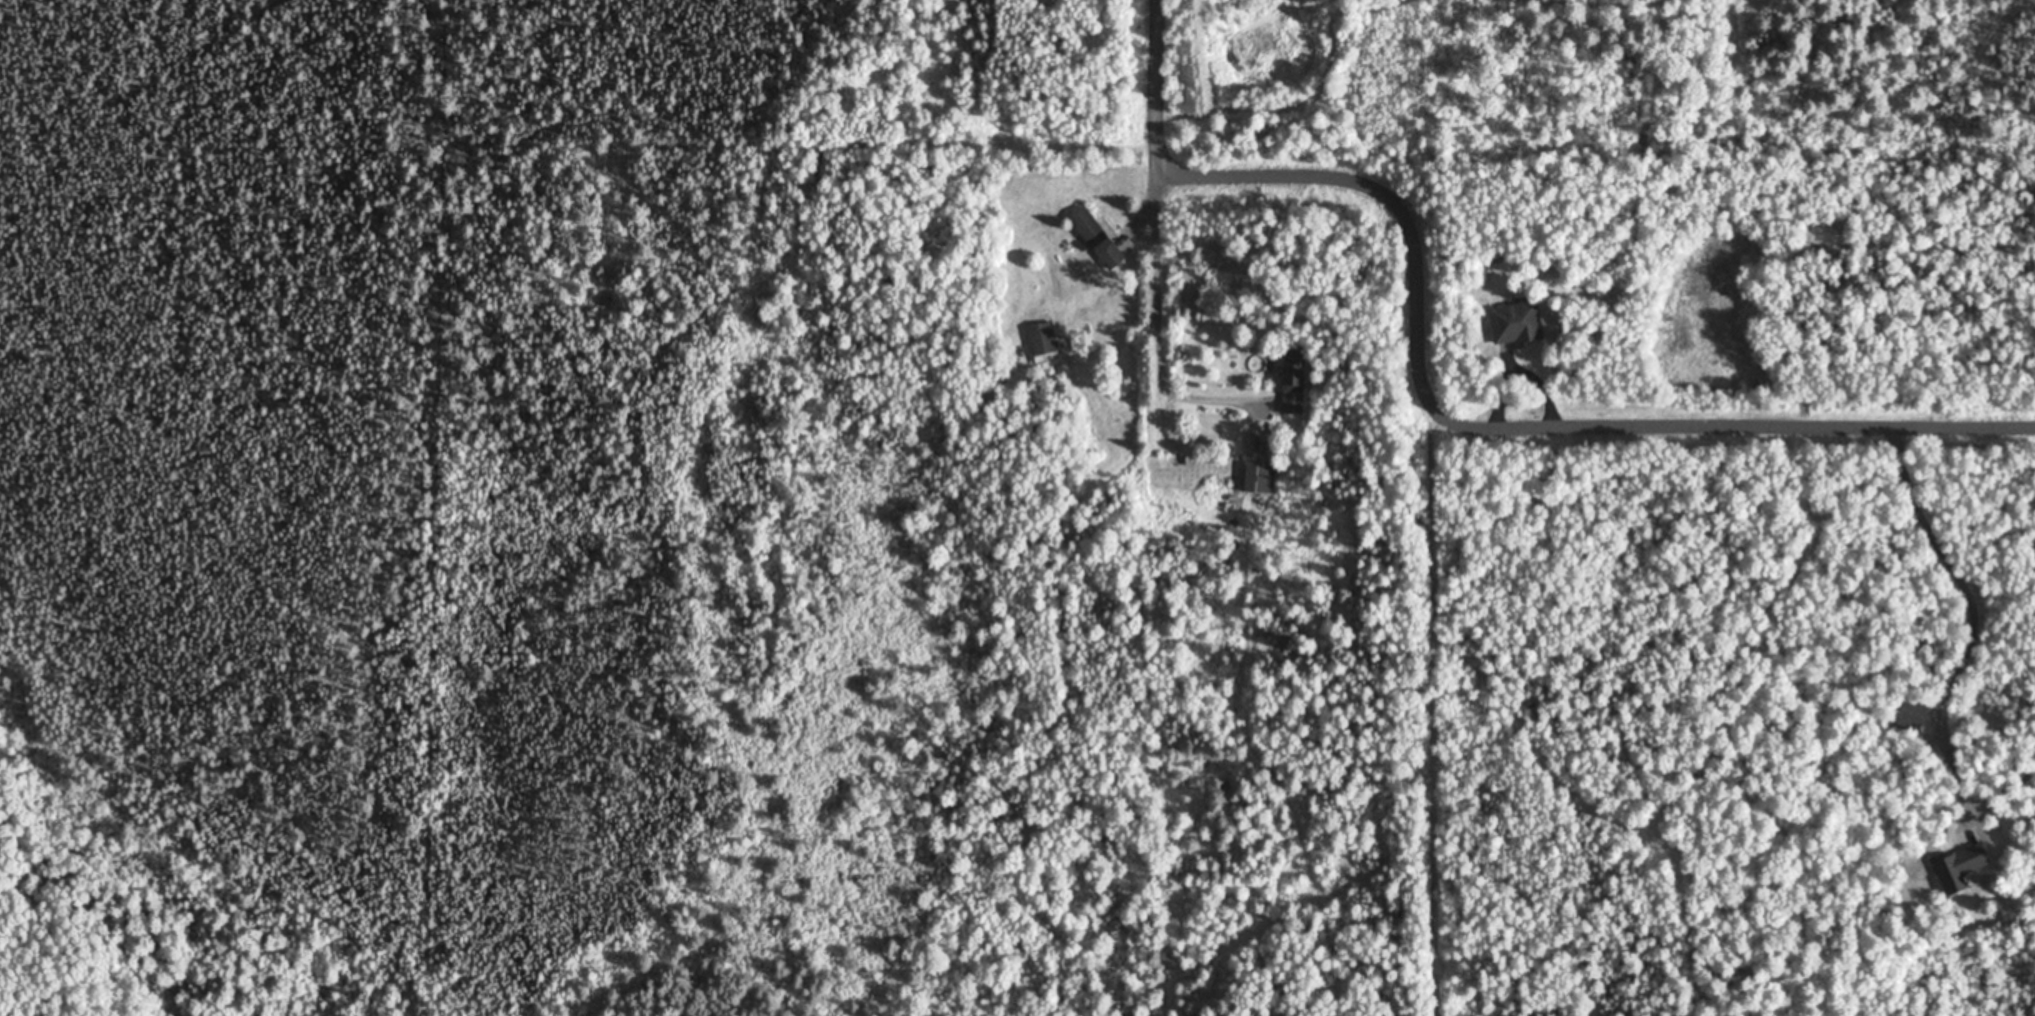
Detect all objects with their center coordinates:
road: (1160, 86)
building: (1097, 238)
road: (1151, 291)
building: (1515, 324)
building: (1041, 340)
building: (1293, 383)
road: (1511, 422)
building: (1259, 478)
building: (1911, 715)

